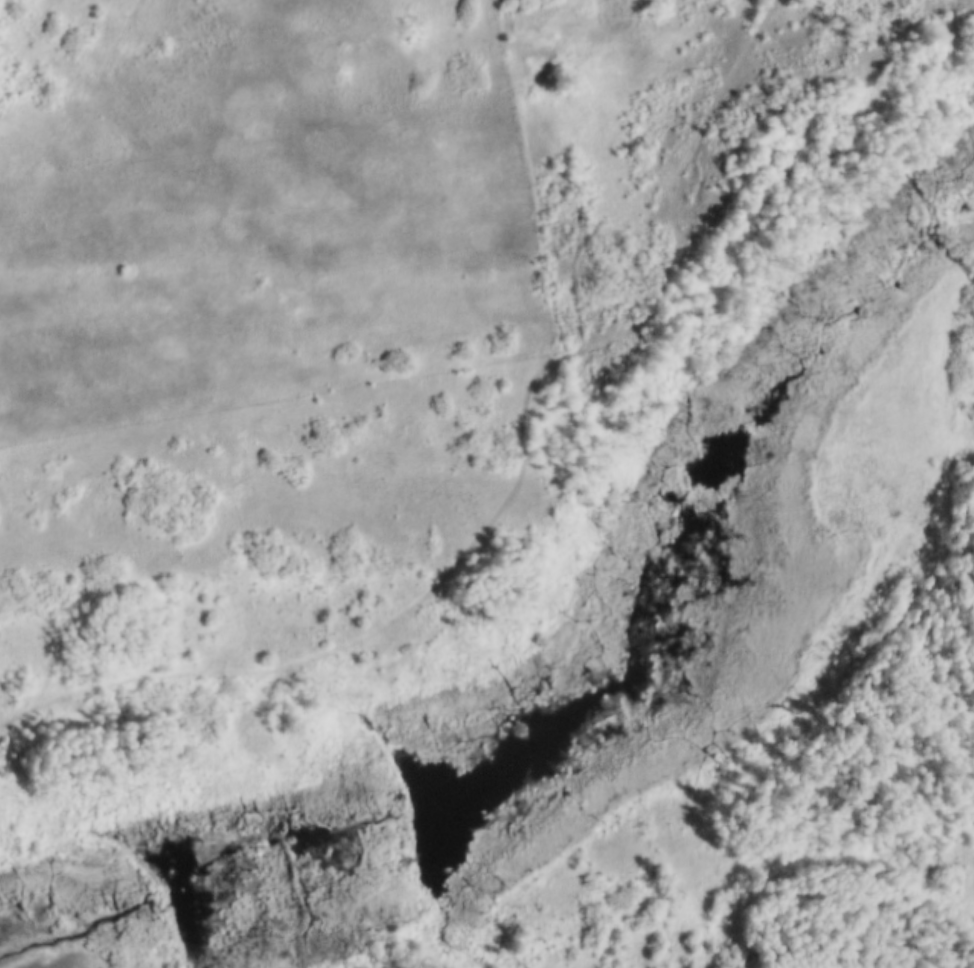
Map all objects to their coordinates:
road: (694, 194)

